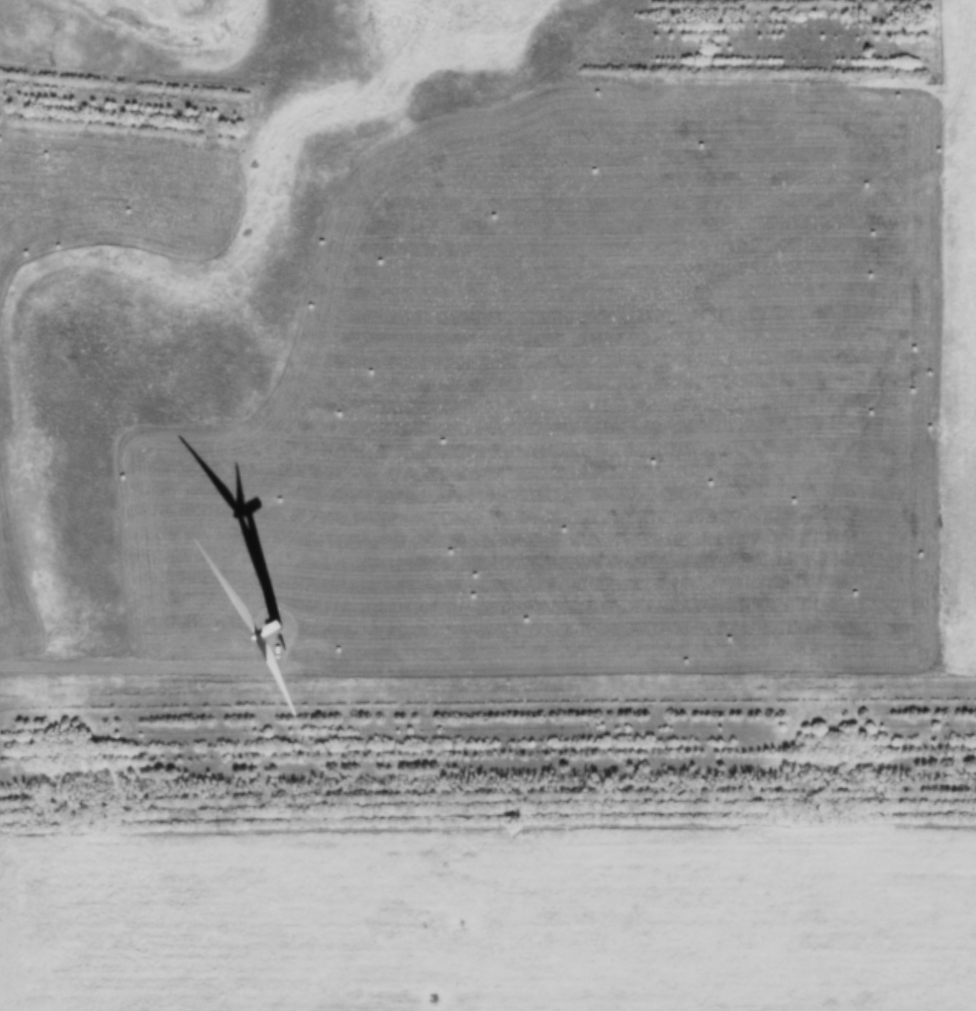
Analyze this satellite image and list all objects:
wind turbine: (278, 630)

